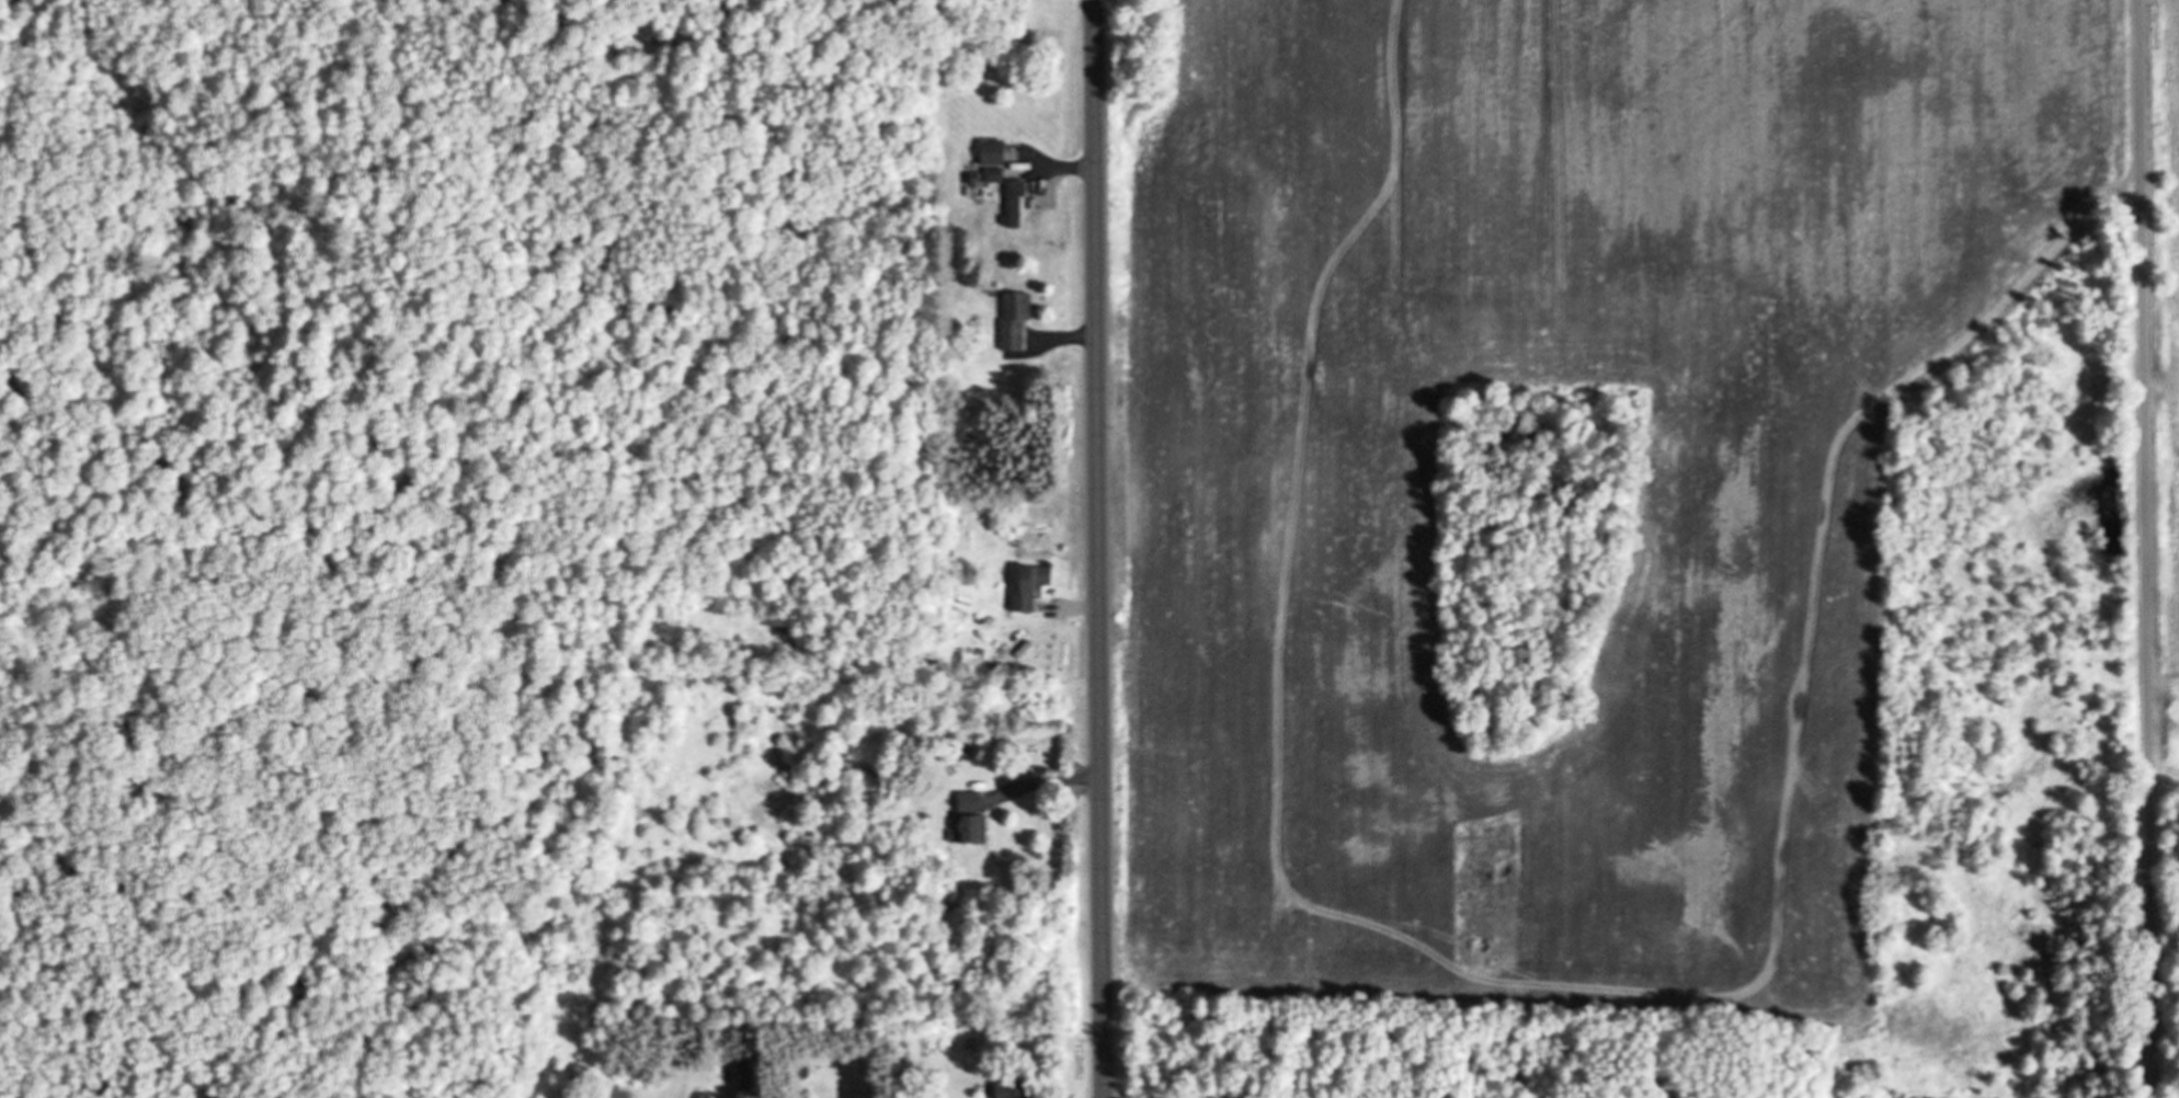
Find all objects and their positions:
building: (989, 151)
building: (991, 174)
building: (1012, 201)
building: (1012, 318)
road: (1099, 548)
road: (2151, 548)
building: (1027, 583)
building: (967, 816)
building: (961, 1048)
building: (1008, 1089)

